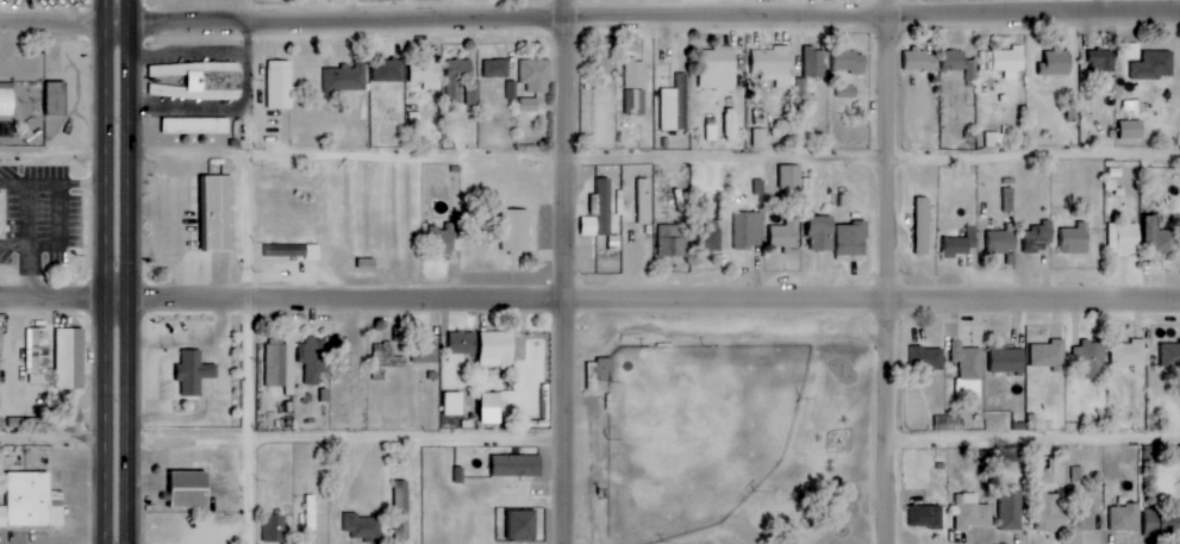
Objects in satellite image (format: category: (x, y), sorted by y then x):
road: (246, 12)
road: (589, 17)
building: (1132, 51)
building: (603, 60)
building: (1009, 60)
building: (920, 61)
building: (1103, 61)
building: (850, 62)
building: (814, 63)
building: (961, 63)
building: (1056, 63)
building: (773, 65)
building: (1155, 65)
building: (718, 68)
building: (497, 69)
building: (389, 70)
building: (426, 74)
building: (536, 76)
building: (457, 77)
building: (345, 80)
building: (200, 81)
building: (277, 85)
building: (635, 87)
building: (511, 89)
road: (248, 90)
building: (473, 92)
building: (848, 92)
building: (52, 98)
building: (7, 100)
building: (529, 105)
building: (674, 106)
building: (1134, 107)
building: (730, 125)
building: (193, 126)
building: (1132, 130)
building: (758, 138)
road: (589, 162)
building: (791, 177)
building: (1007, 200)
building: (643, 202)
building: (599, 212)
building: (218, 213)
building: (919, 226)
building: (516, 231)
building: (745, 231)
building: (783, 233)
building: (822, 233)
building: (713, 237)
building: (1039, 238)
building: (1161, 238)
building: (442, 239)
building: (853, 239)
building: (1076, 239)
building: (1125, 239)
building: (673, 240)
building: (597, 242)
building: (1003, 242)
building: (963, 243)
building: (292, 251)
road: (105, 271)
road: (129, 271)
road: (564, 271)
road: (885, 271)
road: (589, 301)
building: (462, 345)
road: (246, 350)
building: (498, 350)
building: (341, 352)
building: (425, 352)
building: (1129, 354)
building: (1170, 354)
building: (38, 356)
building: (1050, 356)
building: (0, 358)
building: (928, 358)
building: (70, 359)
building: (313, 359)
building: (1007, 359)
building: (385, 361)
building: (1093, 361)
building: (968, 362)
building: (279, 365)
building: (605, 370)
building: (194, 374)
building: (491, 401)
building: (454, 405)
building: (945, 423)
park: (723, 429)
park: (689, 431)
road: (1032, 439)
road: (344, 440)
road: (51, 442)
building: (1013, 455)
building: (517, 467)
building: (191, 490)
building: (32, 502)
building: (1012, 508)
building: (972, 512)
building: (308, 513)
building: (402, 513)
building: (1051, 513)
building: (928, 517)
building: (1084, 517)
building: (1125, 518)
building: (1162, 524)
building: (522, 525)
building: (363, 527)
building: (274, 530)

